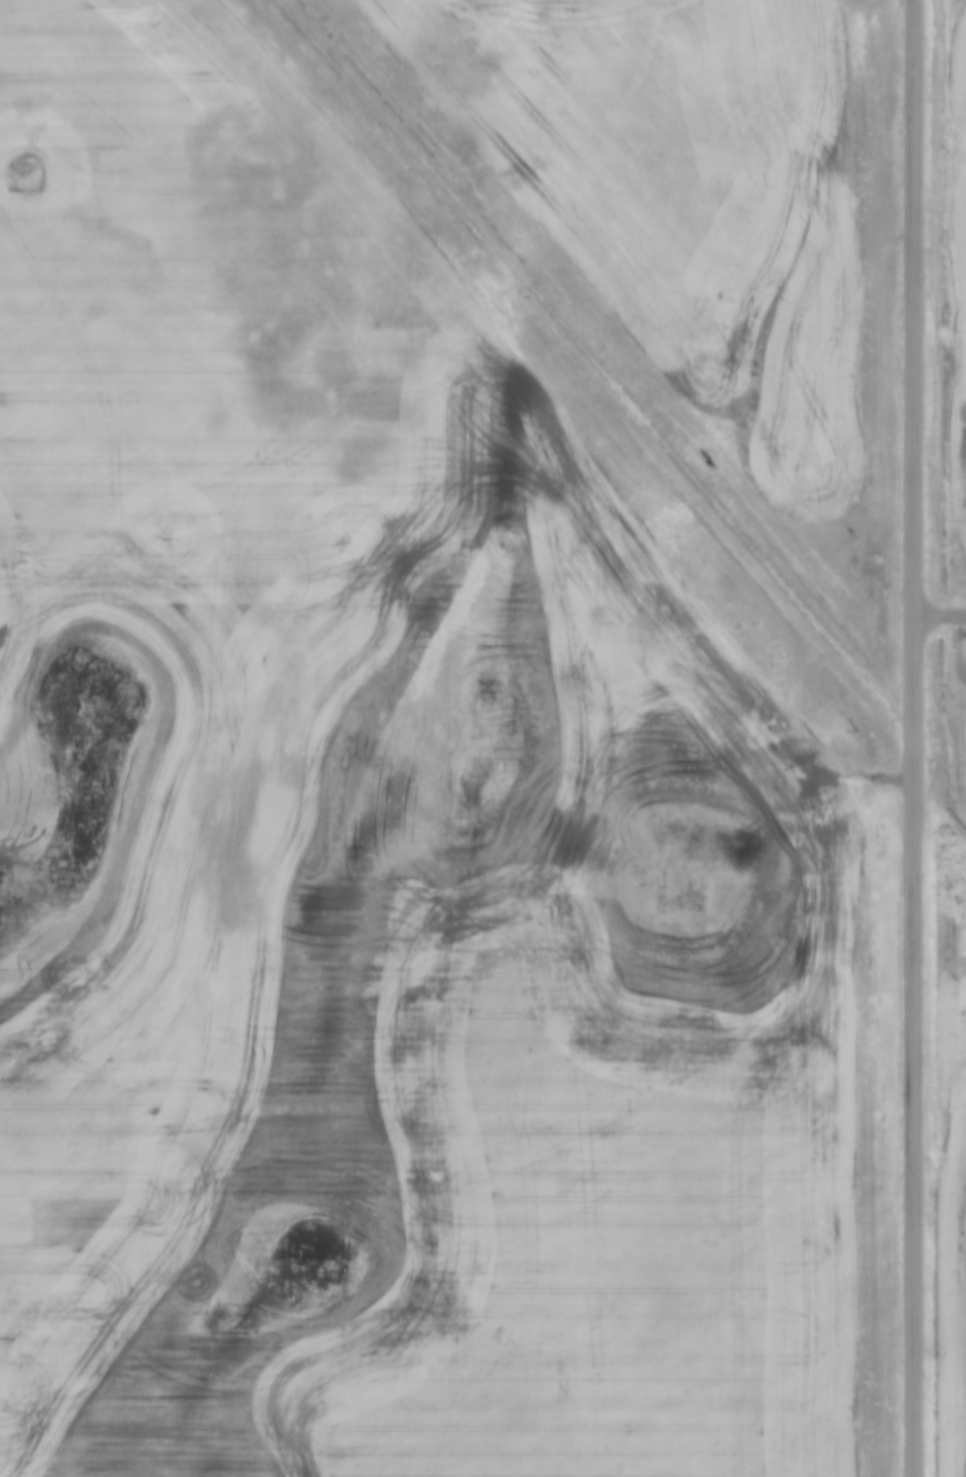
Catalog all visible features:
road: (941, 616)
road: (912, 738)

